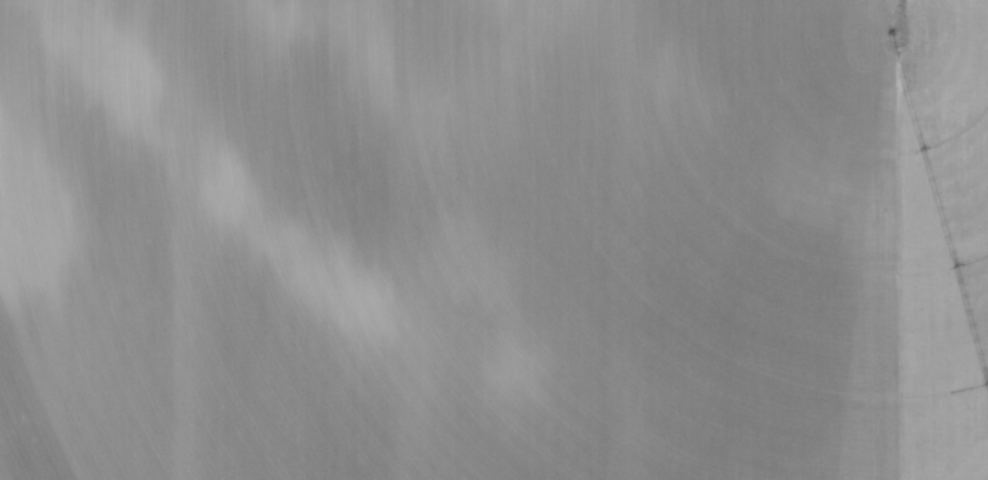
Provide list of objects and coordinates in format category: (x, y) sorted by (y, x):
crop: (494, 240)

